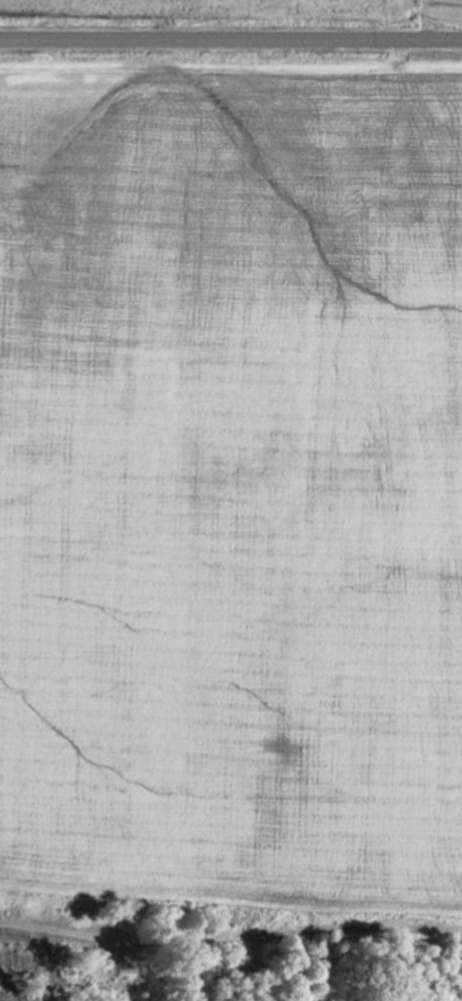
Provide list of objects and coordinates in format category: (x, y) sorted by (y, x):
road: (231, 40)

